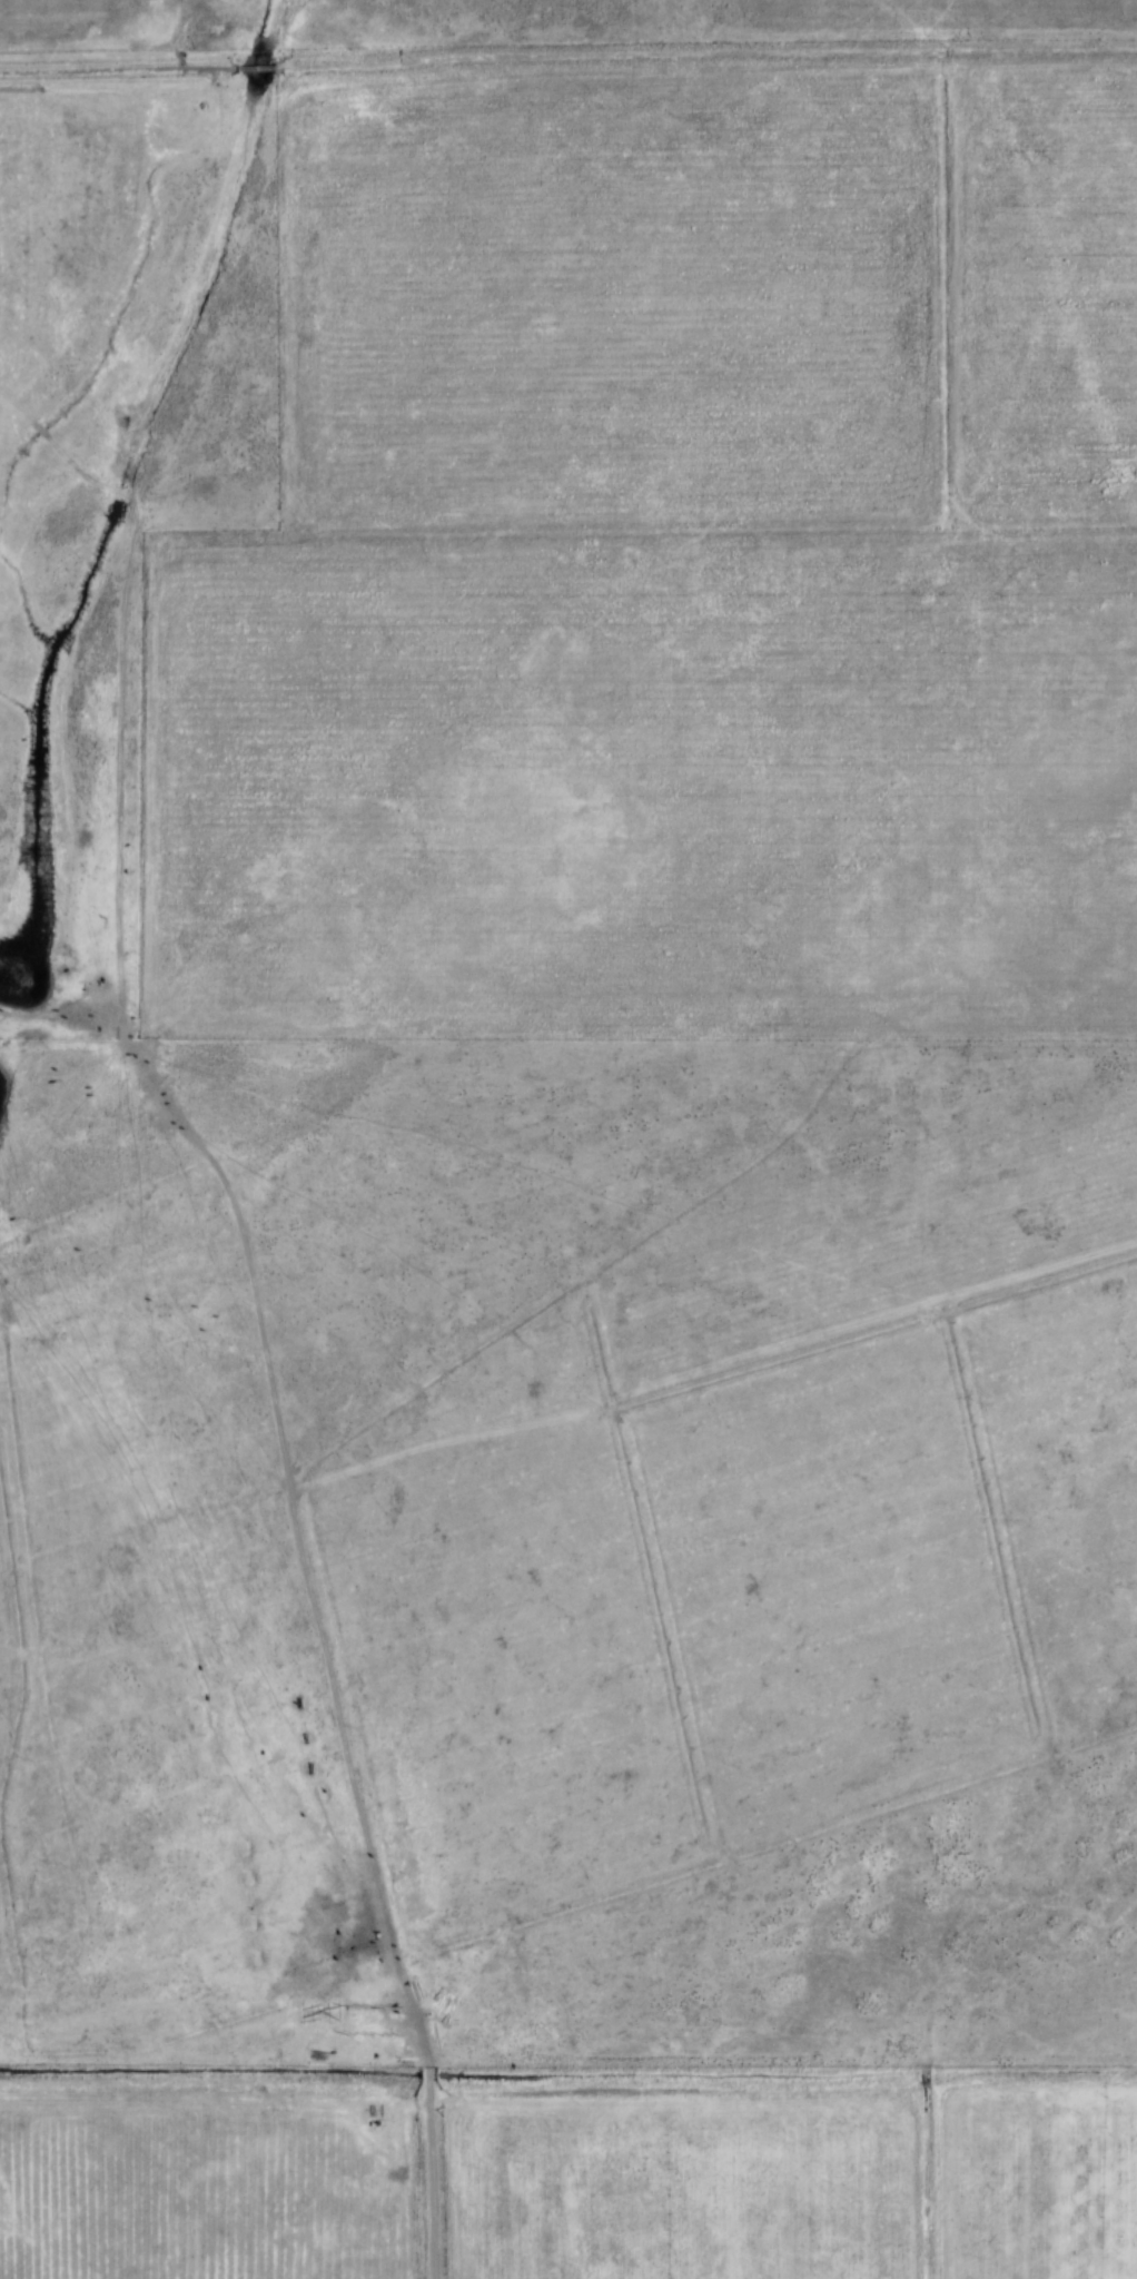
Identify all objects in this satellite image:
crop: (1046, 300)
crop: (629, 312)
crop: (655, 787)
road: (335, 1636)
crop: (703, 2177)
crop: (1041, 2177)
crop: (220, 2179)

